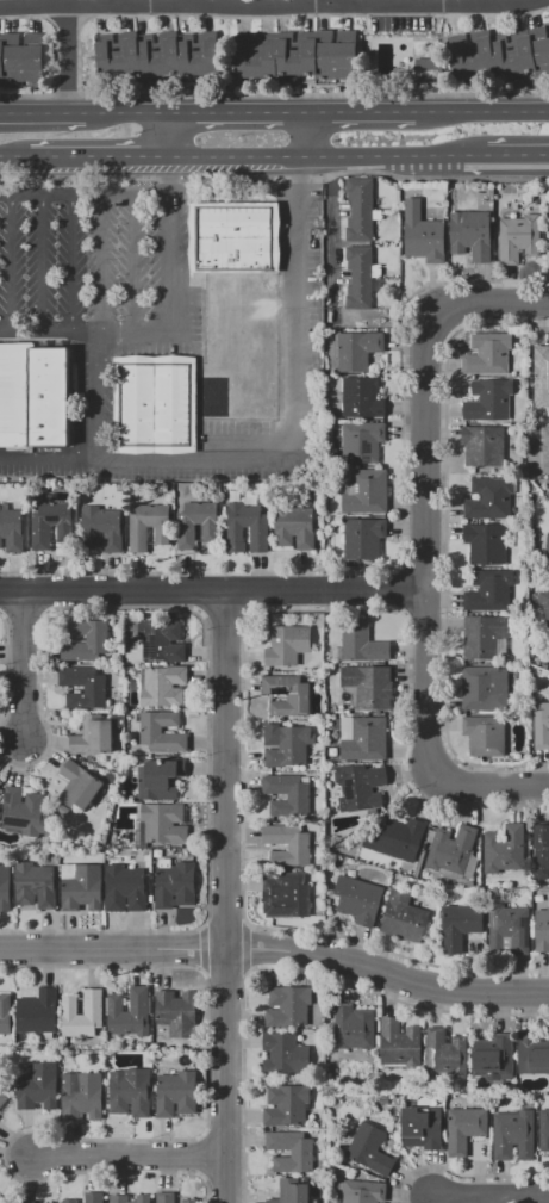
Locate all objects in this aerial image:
road: (118, 4)
road: (269, 6)
building: (297, 55)
building: (499, 55)
building: (157, 57)
building: (21, 58)
road: (65, 61)
building: (426, 68)
road: (481, 116)
road: (45, 117)
road: (104, 117)
road: (144, 117)
road: (227, 117)
road: (293, 117)
road: (358, 117)
road: (304, 137)
road: (173, 139)
road: (518, 154)
road: (330, 156)
road: (127, 162)
road: (55, 163)
road: (13, 165)
road: (67, 197)
building: (360, 210)
building: (423, 234)
building: (470, 234)
building: (233, 237)
building: (518, 237)
building: (547, 242)
road: (15, 263)
road: (46, 263)
road: (77, 263)
road: (105, 265)
road: (132, 265)
building: (361, 277)
road: (167, 328)
building: (358, 351)
building: (487, 354)
building: (541, 376)
road: (101, 395)
building: (32, 396)
building: (362, 397)
building: (488, 401)
building: (154, 404)
building: (361, 441)
building: (484, 446)
building: (547, 447)
road: (301, 458)
building: (364, 491)
building: (489, 498)
building: (51, 525)
building: (294, 527)
building: (101, 528)
building: (258, 529)
building: (12, 531)
building: (187, 533)
building: (163, 534)
building: (364, 538)
building: (486, 544)
road: (430, 545)
building: (547, 554)
road: (216, 591)
building: (489, 591)
building: (541, 602)
building: (484, 635)
building: (96, 638)
building: (157, 643)
building: (363, 643)
building: (286, 644)
road: (25, 668)
building: (162, 686)
building: (369, 686)
building: (83, 687)
building: (484, 688)
building: (299, 697)
building: (541, 726)
building: (151, 730)
building: (98, 734)
building: (484, 736)
building: (366, 740)
building: (286, 745)
road: (225, 770)
building: (158, 779)
building: (79, 783)
building: (357, 786)
building: (287, 795)
building: (0, 812)
building: (25, 812)
building: (164, 823)
building: (397, 838)
building: (288, 844)
building: (504, 849)
building: (541, 851)
building: (449, 852)
building: (35, 885)
building: (174, 885)
building: (81, 886)
building: (4, 887)
building: (125, 888)
building: (287, 897)
building: (357, 899)
building: (404, 918)
building: (460, 925)
building: (511, 929)
building: (542, 930)
road: (113, 949)
road: (388, 973)
building: (93, 1005)
building: (288, 1006)
building: (37, 1012)
building: (129, 1012)
building: (176, 1012)
building: (5, 1015)
building: (354, 1027)
building: (399, 1044)
building: (445, 1053)
building: (532, 1053)
building: (285, 1054)
building: (493, 1058)
road: (226, 1075)
building: (38, 1086)
building: (129, 1093)
building: (176, 1093)
building: (81, 1096)
building: (2, 1098)
building: (286, 1105)
building: (422, 1128)
building: (463, 1129)
building: (543, 1130)
building: (513, 1135)
building: (369, 1149)
building: (291, 1151)
road: (131, 1161)
building: (294, 1191)
building: (361, 1191)
building: (67, 1197)
building: (93, 1197)
building: (118, 1197)
building: (164, 1197)
building: (188, 1197)
road: (492, 1199)
building: (2, 1201)
building: (48, 1202)

